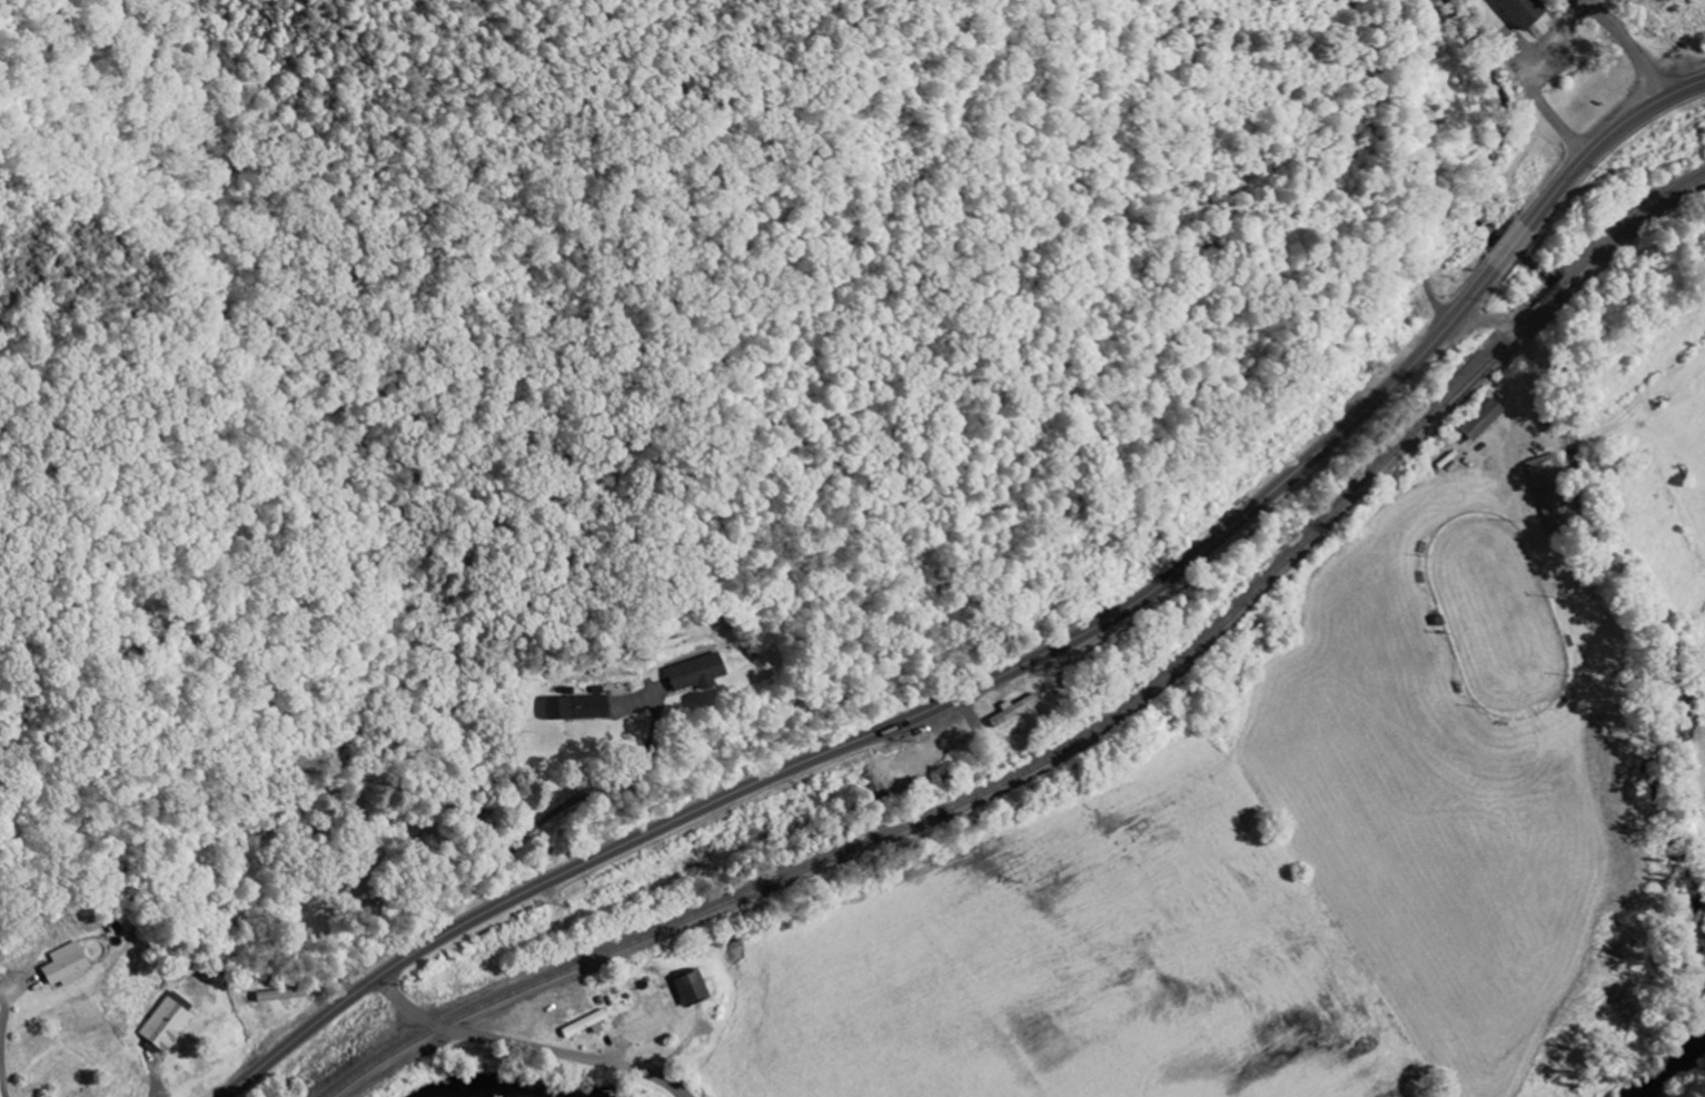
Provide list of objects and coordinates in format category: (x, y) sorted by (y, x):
building: (1524, 10)
road: (1590, 10)
road: (1637, 60)
road: (1605, 142)
railway: (1634, 219)
road: (1510, 248)
railway: (1553, 294)
road: (1526, 398)
building: (1481, 421)
building: (1550, 495)
building: (694, 673)
building: (573, 709)
road: (893, 729)
railway: (990, 790)
road: (531, 823)
building: (66, 967)
building: (691, 989)
road: (3, 1018)
building: (168, 1022)
building: (586, 1025)
road: (524, 1047)
road: (3, 1080)

